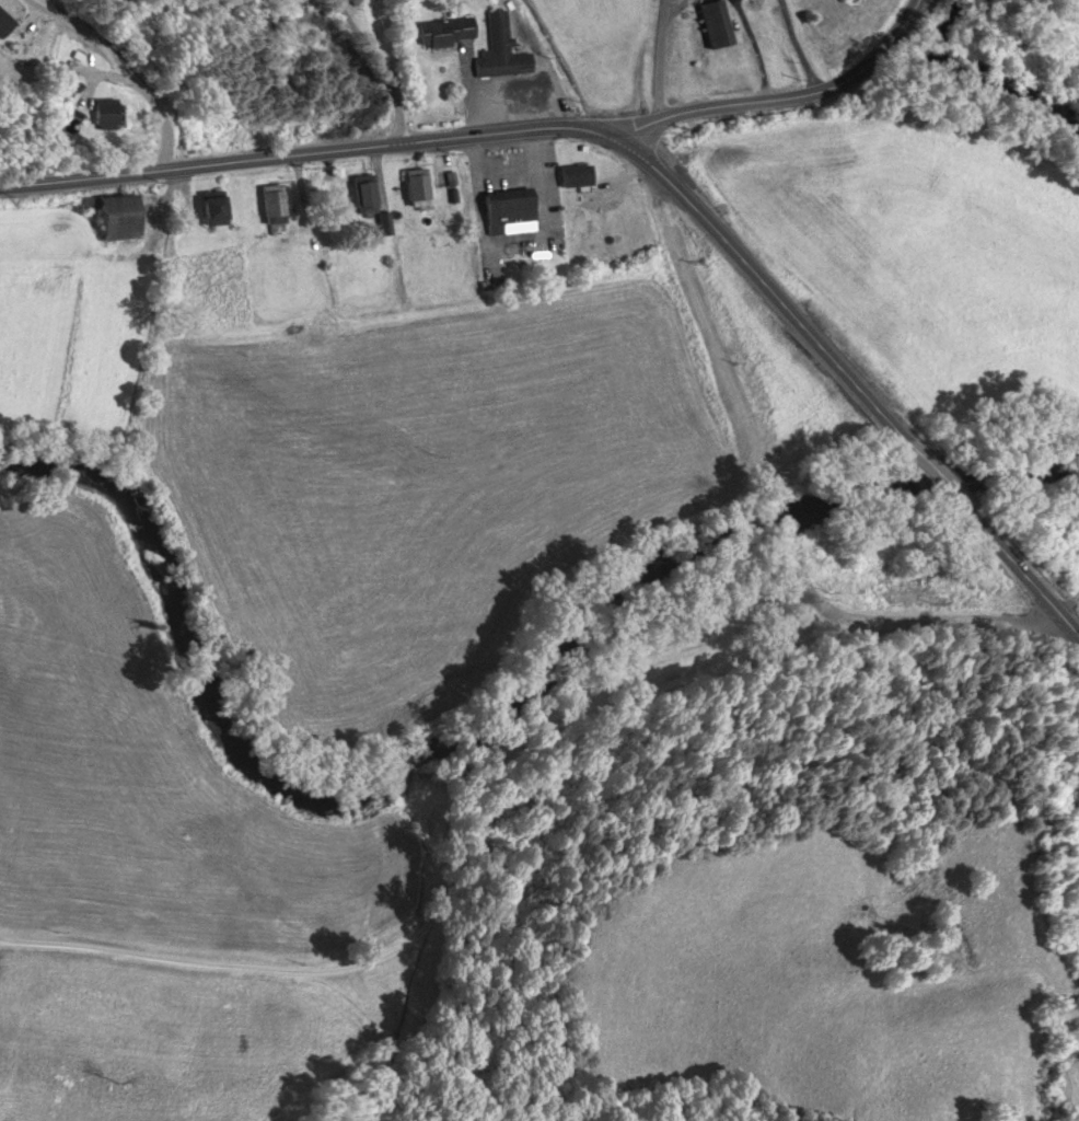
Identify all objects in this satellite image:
crop: (1075, 7)
building: (3, 24)
building: (713, 24)
building: (445, 32)
road: (391, 44)
road: (799, 47)
building: (500, 50)
road: (665, 60)
road: (125, 65)
road: (384, 66)
river: (993, 70)
road: (785, 99)
building: (98, 114)
road: (510, 130)
building: (575, 176)
building: (417, 189)
building: (363, 192)
building: (274, 201)
building: (212, 210)
building: (503, 211)
building: (116, 217)
road: (935, 473)
road: (1025, 574)
crop: (1077, 579)
river: (473, 713)

